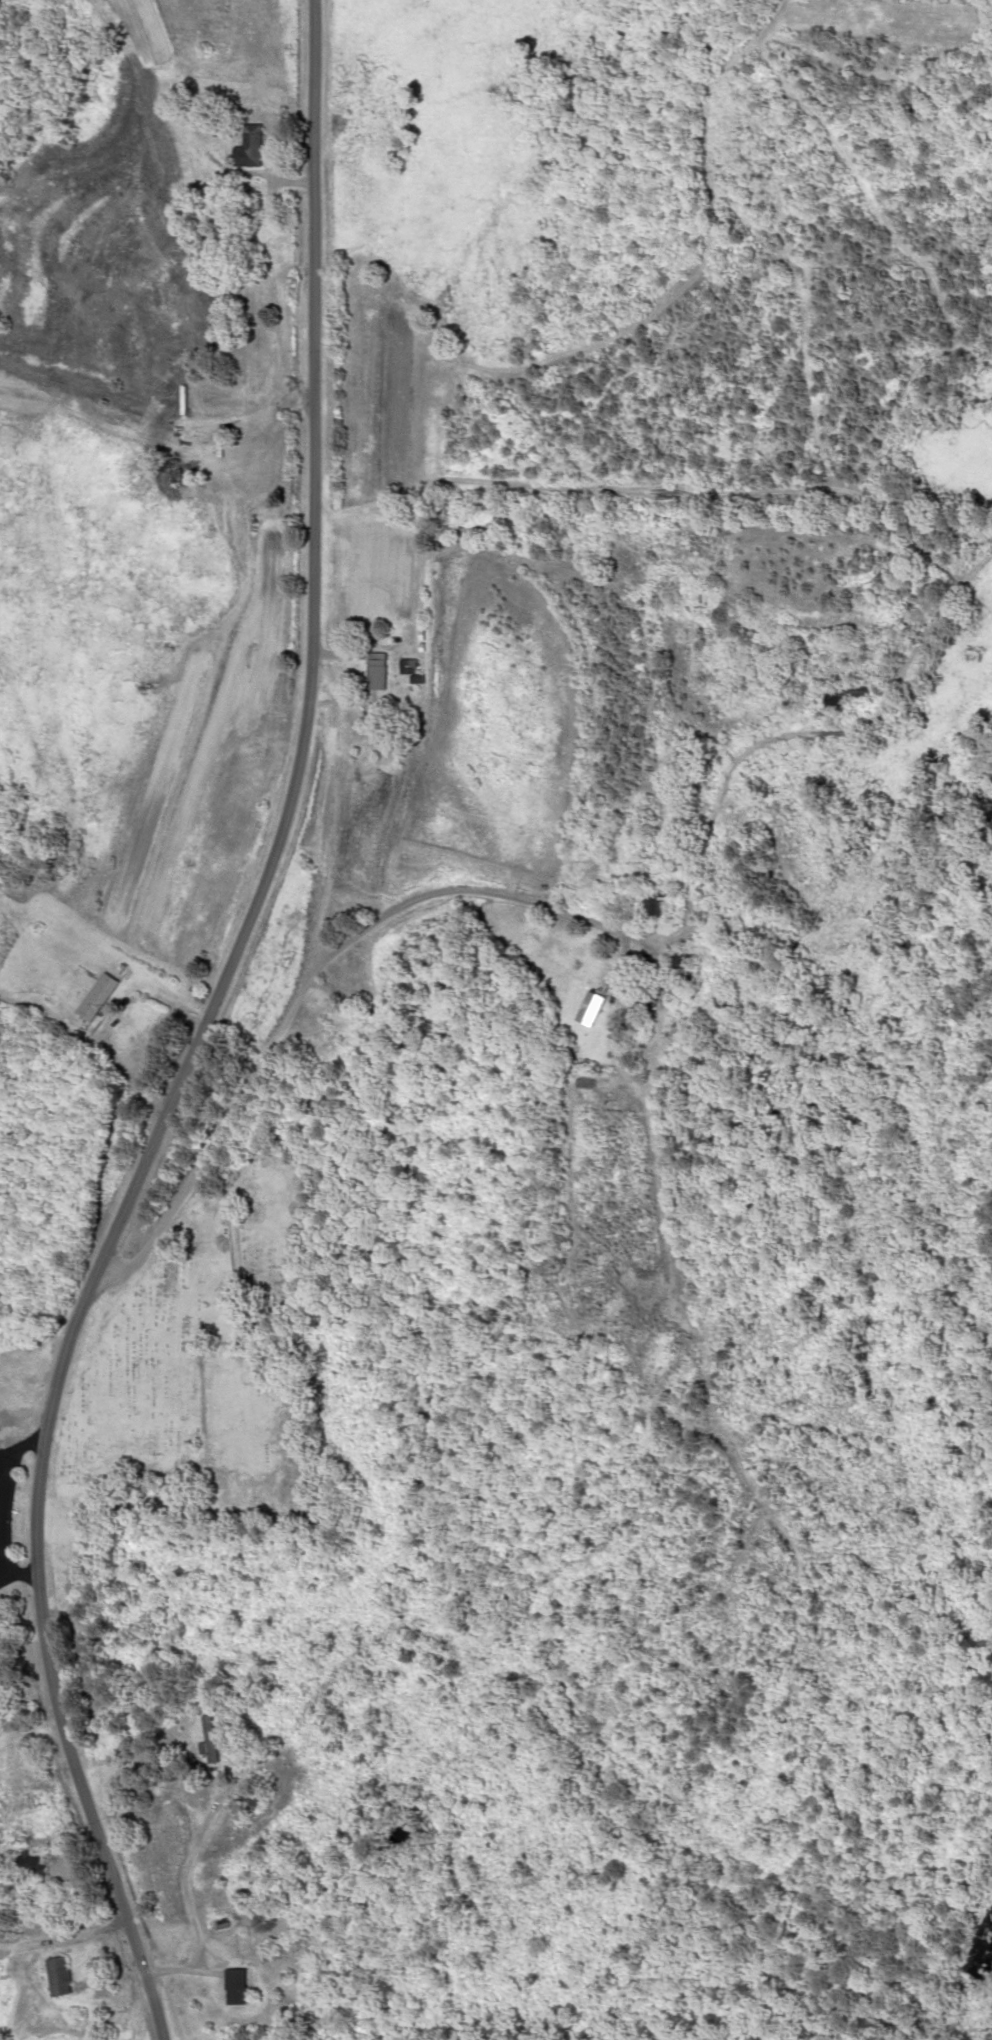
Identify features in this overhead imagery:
building: (256, 146)
road: (116, 230)
building: (383, 670)
building: (853, 693)
road: (267, 733)
building: (691, 960)
road: (310, 996)
building: (103, 997)
building: (359, 1001)
building: (599, 1008)
building: (222, 1739)
road: (41, 1804)
building: (42, 1863)
road: (32, 1902)
building: (68, 1973)
building: (251, 1985)

